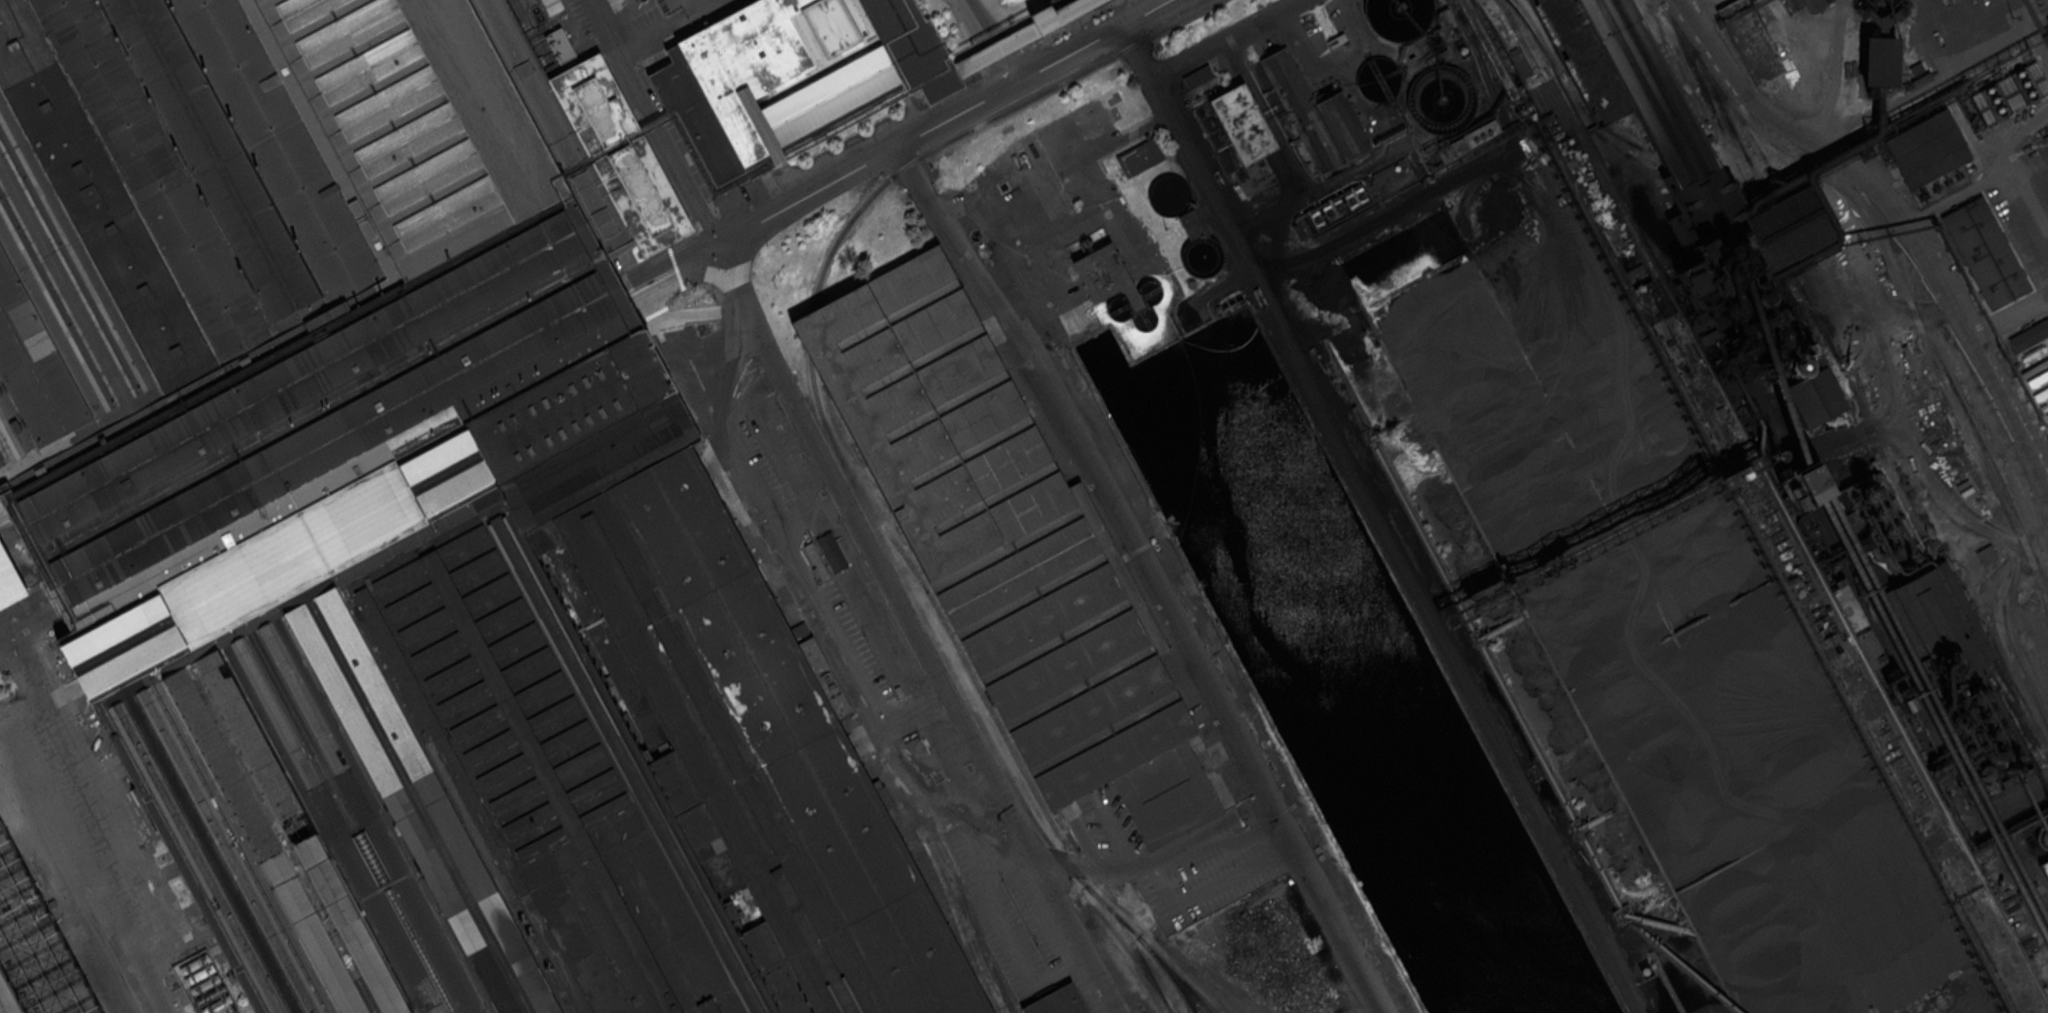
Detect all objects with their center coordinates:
building: (617, 0)
building: (1816, 4)
building: (1398, 17)
railway: (1529, 20)
road: (1071, 24)
railway: (1521, 34)
road: (1227, 39)
building: (1748, 39)
road: (987, 43)
building: (559, 44)
building: (1428, 45)
railway: (1483, 47)
building: (998, 48)
building: (1879, 61)
road: (1004, 63)
railway: (1518, 64)
railway: (1532, 67)
building: (1916, 69)
building: (1198, 76)
building: (786, 78)
building: (1377, 78)
building: (1922, 78)
building: (1440, 99)
storage tank: (1440, 99)
building: (1318, 114)
railway: (986, 121)
road: (654, 122)
building: (1239, 136)
road: (878, 137)
building: (1464, 141)
road: (898, 148)
building: (1925, 150)
railway: (1626, 154)
building: (2047, 154)
building: (1142, 158)
road: (1986, 183)
building: (1358, 195)
railway: (1706, 199)
road: (1091, 202)
road: (734, 212)
railway: (1781, 217)
road: (1901, 221)
building: (1190, 223)
building: (1985, 252)
railway: (1782, 266)
building: (1102, 269)
railway: (1823, 269)
railway: (1898, 271)
road: (2008, 315)
railway: (1671, 328)
railway: (814, 335)
railway: (1664, 339)
railway: (1849, 378)
building: (1789, 385)
road: (729, 390)
railway: (721, 392)
road: (2002, 444)
road: (339, 447)
road: (1382, 519)
building: (414, 528)
building: (1006, 543)
building: (832, 552)
building: (1987, 555)
building: (817, 560)
road: (1146, 574)
building: (9, 581)
railway: (35, 584)
railway: (1972, 607)
road: (5, 615)
road: (26, 615)
road: (915, 630)
railway: (1843, 649)
road: (25, 651)
railway: (973, 712)
river: (1362, 726)
railway: (887, 765)
railway: (1027, 777)
railway: (920, 780)
road: (2008, 804)
road: (100, 821)
road: (1119, 836)
road: (1156, 859)
building: (2043, 871)
parking lot: (1210, 876)
railway: (958, 883)
road: (1163, 889)
railway: (1974, 890)
railway: (1967, 912)
railway: (1980, 912)
road: (135, 940)
railway: (2006, 941)
railway: (1133, 944)
road: (1862, 959)
railway: (2005, 970)
railway: (1197, 975)
railway: (1176, 983)
railway: (1209, 989)
building: (1057, 1002)
road: (5, 1003)
railway: (2020, 1010)

